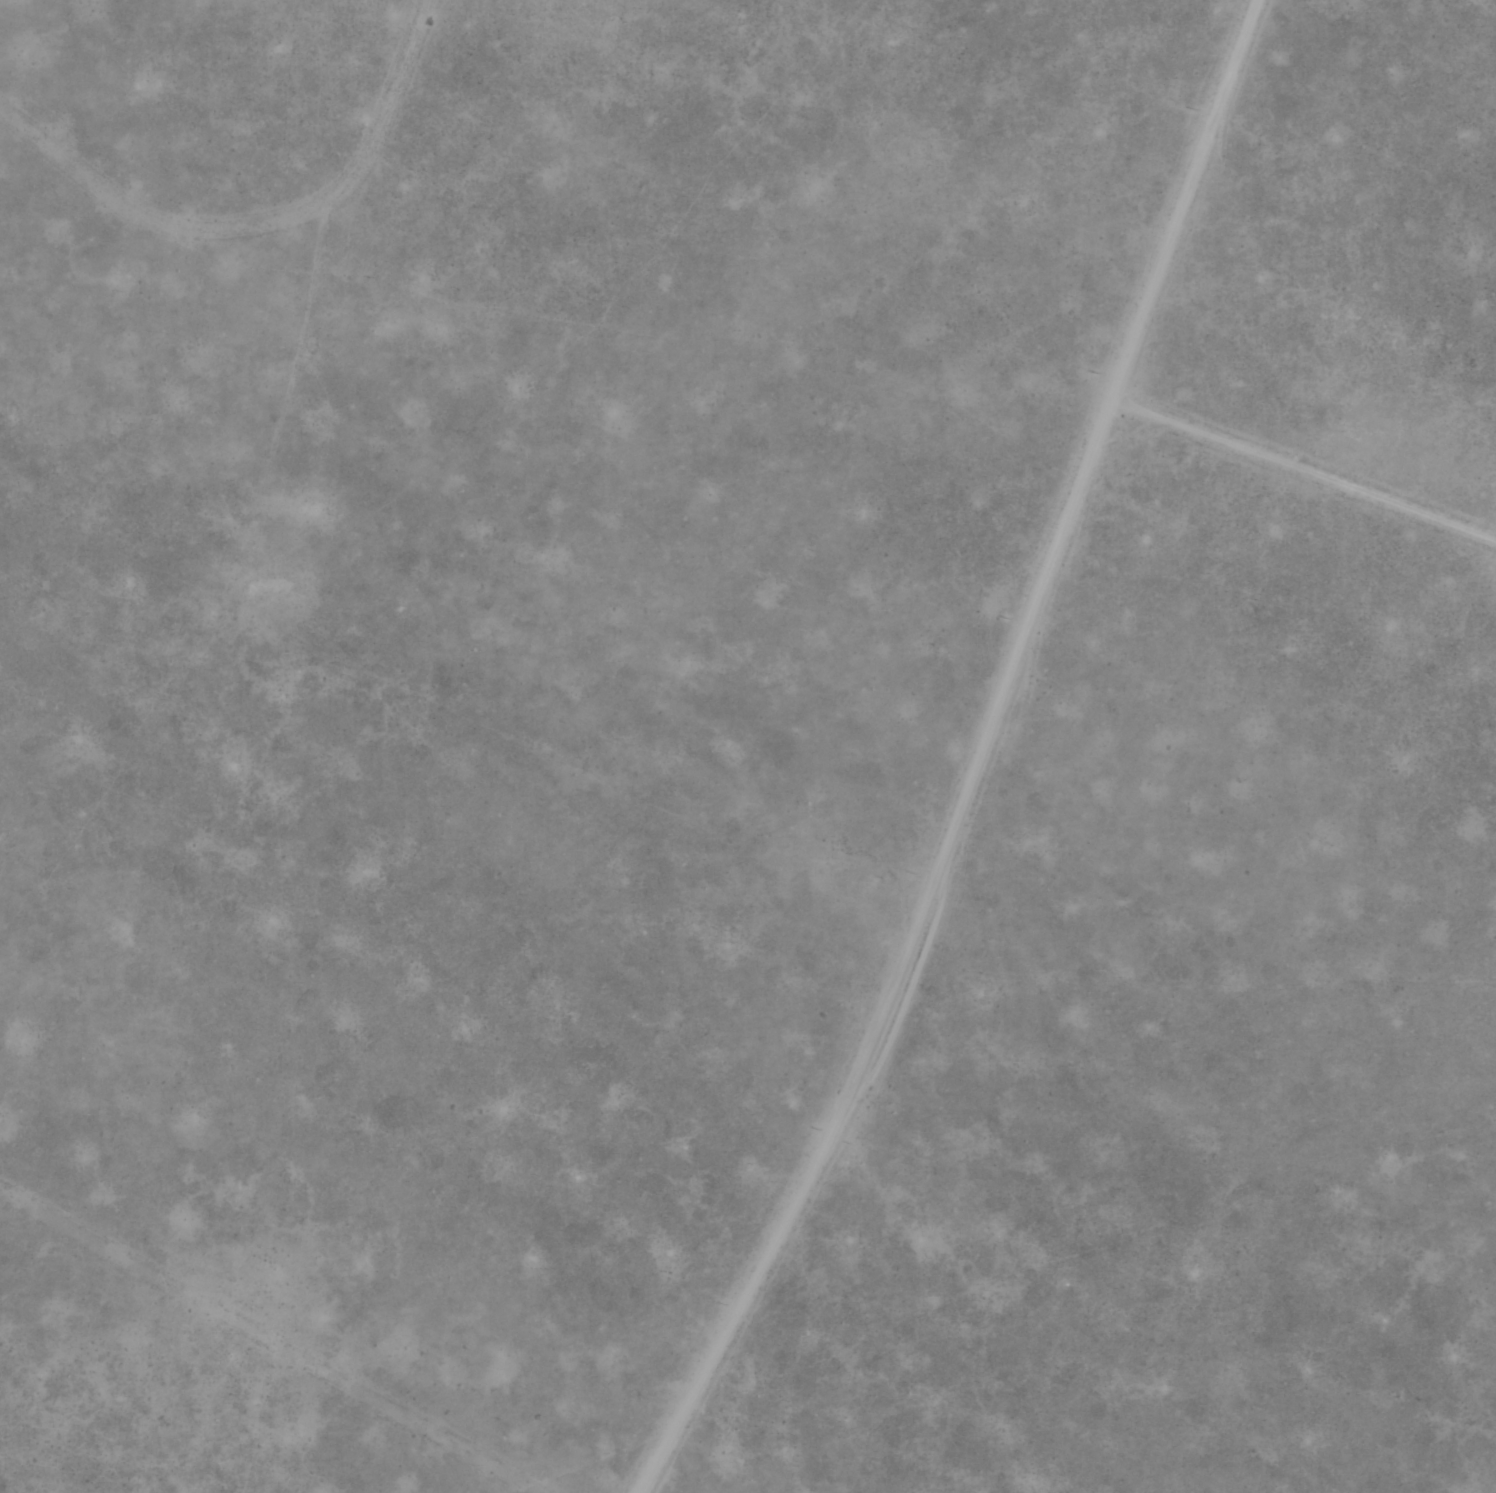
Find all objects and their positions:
road: (1301, 467)
road: (978, 760)
road: (274, 1335)

